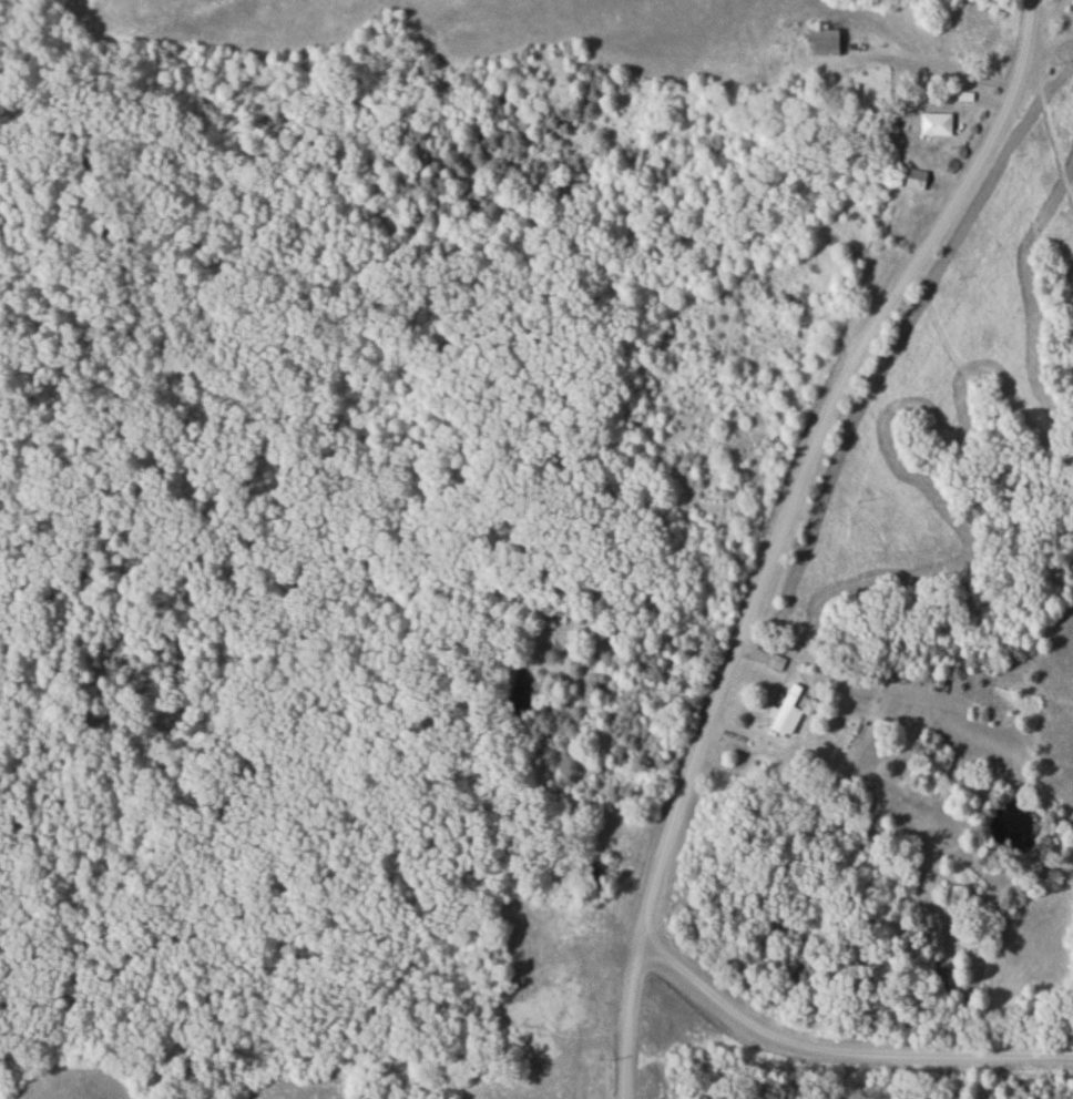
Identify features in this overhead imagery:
building: (824, 42)
road: (919, 61)
building: (936, 124)
building: (917, 179)
road: (805, 450)
building: (788, 711)
road: (623, 1014)
road: (837, 1046)

